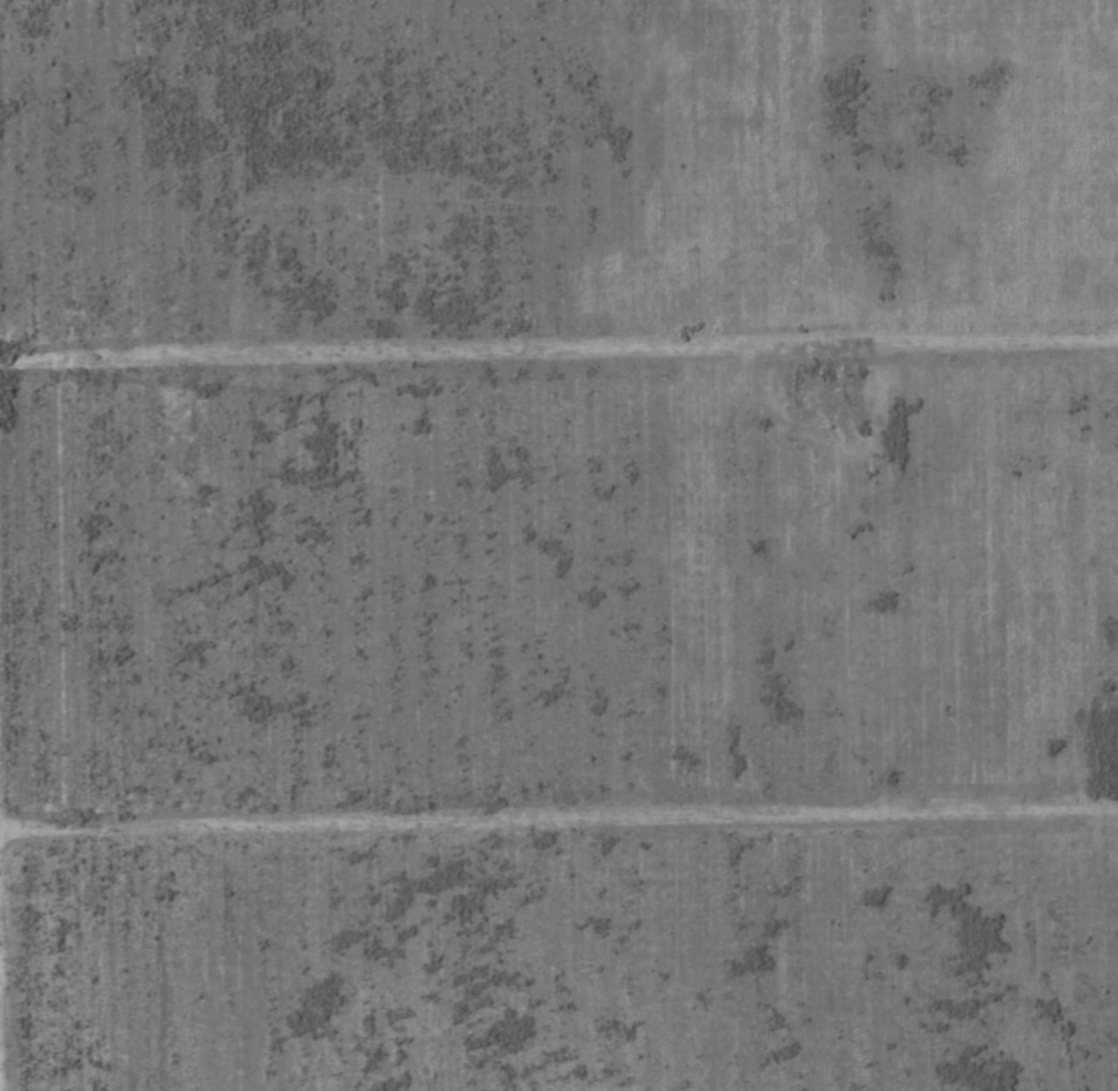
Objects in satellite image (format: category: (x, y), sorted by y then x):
road: (48, 777)

